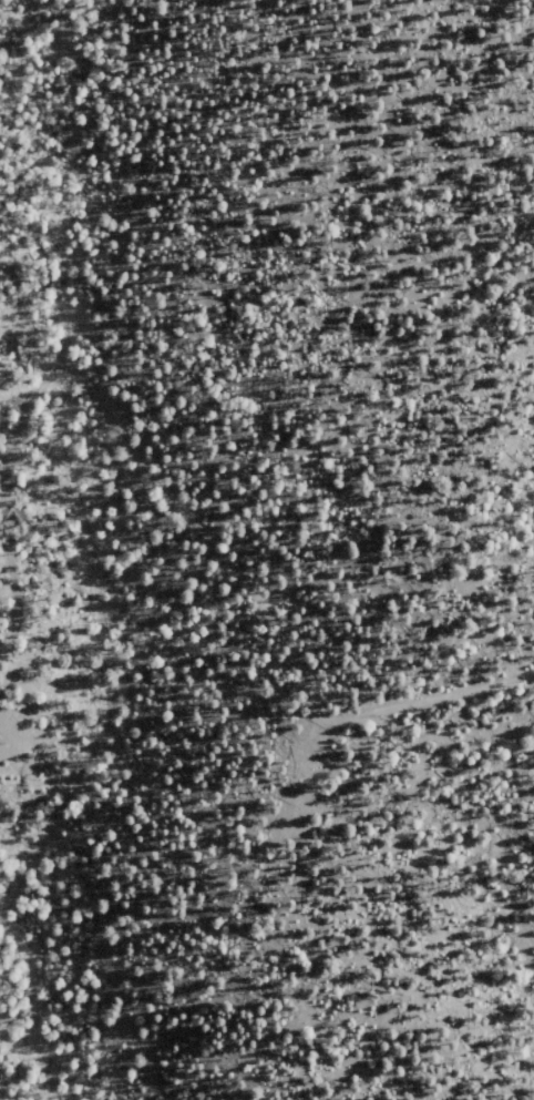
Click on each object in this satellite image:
road: (224, 394)

